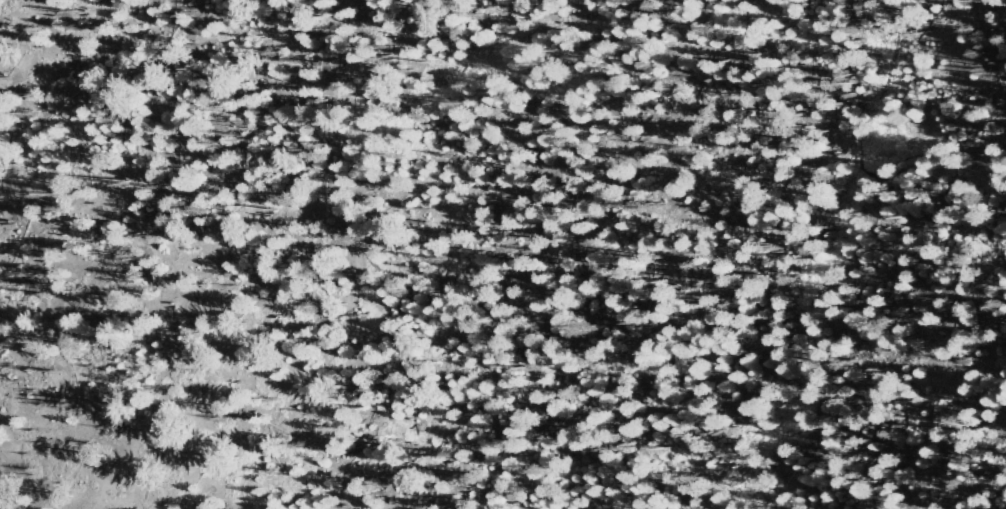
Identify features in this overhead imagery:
road: (840, 115)

